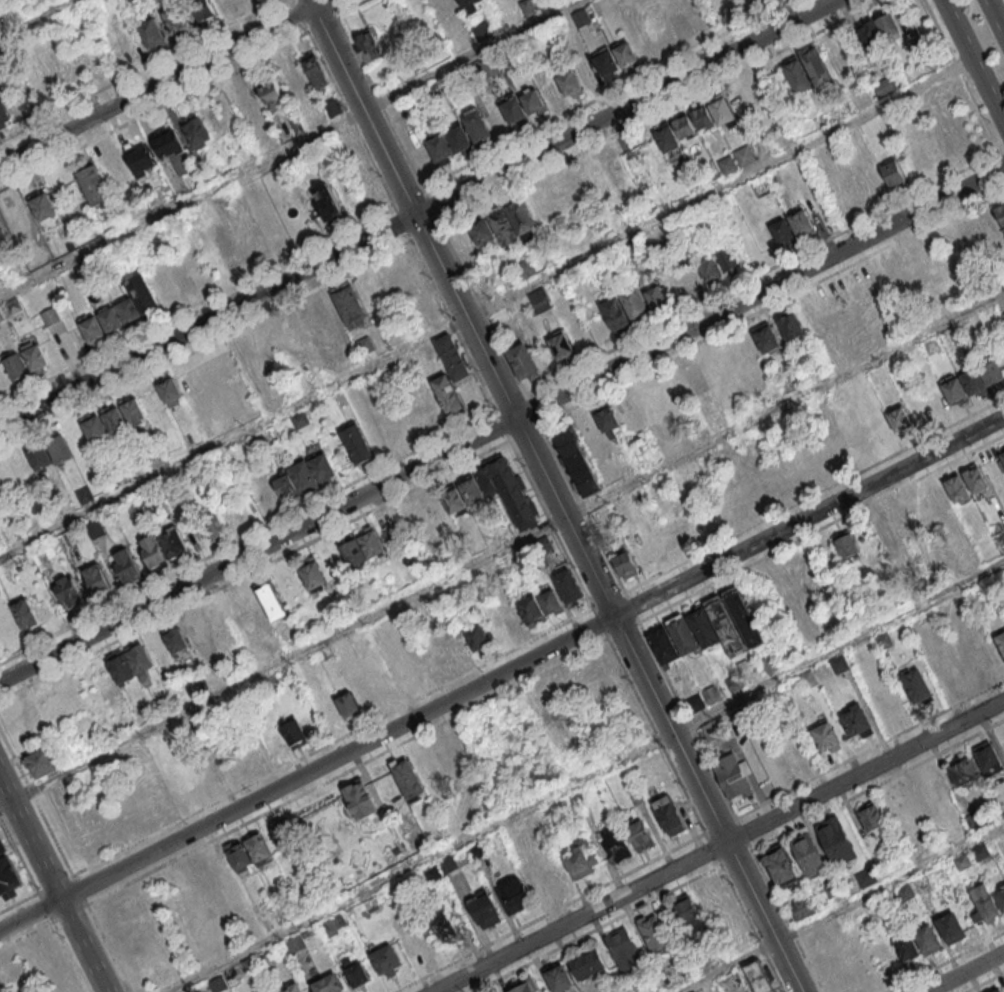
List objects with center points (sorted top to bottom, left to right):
building: (470, 5)
building: (526, 6)
building: (203, 9)
building: (443, 11)
road: (31, 16)
building: (174, 16)
building: (580, 17)
road: (994, 18)
building: (505, 20)
building: (889, 26)
building: (681, 27)
building: (482, 31)
building: (151, 32)
building: (870, 38)
building: (370, 43)
building: (915, 43)
building: (123, 45)
building: (625, 54)
building: (606, 63)
road: (972, 63)
building: (487, 65)
building: (315, 70)
building: (818, 72)
building: (588, 73)
building: (798, 79)
road: (160, 82)
building: (294, 82)
building: (569, 82)
building: (44, 88)
building: (885, 89)
building: (432, 91)
building: (552, 91)
building: (271, 94)
building: (532, 99)
building: (242, 103)
building: (332, 107)
building: (513, 109)
building: (721, 110)
building: (4, 112)
building: (702, 117)
building: (493, 120)
building: (296, 125)
building: (684, 125)
building: (475, 126)
building: (195, 130)
building: (268, 136)
building: (457, 137)
building: (667, 139)
building: (439, 145)
road: (292, 149)
building: (172, 150)
building: (417, 155)
building: (919, 155)
building: (139, 157)
building: (746, 157)
building: (729, 167)
building: (118, 170)
building: (892, 173)
building: (593, 174)
building: (708, 176)
building: (92, 181)
building: (690, 185)
building: (324, 201)
building: (41, 205)
building: (1000, 212)
road: (416, 213)
building: (522, 217)
building: (802, 223)
building: (988, 223)
building: (502, 225)
building: (481, 231)
building: (781, 231)
building: (967, 235)
building: (3, 237)
building: (227, 244)
building: (636, 254)
building: (728, 259)
building: (709, 268)
building: (904, 269)
building: (527, 271)
building: (690, 277)
building: (144, 296)
building: (656, 298)
building: (538, 300)
building: (634, 303)
building: (349, 304)
building: (129, 310)
road: (486, 310)
building: (614, 313)
building: (1003, 314)
building: (50, 315)
building: (111, 319)
building: (323, 322)
building: (790, 325)
building: (93, 329)
building: (281, 336)
building: (766, 338)
building: (561, 345)
building: (451, 357)
building: (34, 358)
building: (522, 360)
building: (15, 367)
building: (992, 373)
building: (973, 381)
building: (695, 383)
building: (167, 389)
building: (952, 390)
building: (448, 395)
building: (132, 409)
building: (605, 418)
building: (299, 419)
building: (899, 419)
building: (114, 420)
road: (502, 423)
building: (93, 429)
building: (357, 444)
building: (1003, 447)
building: (58, 448)
building: (1002, 456)
building: (40, 457)
building: (577, 460)
building: (321, 466)
building: (303, 476)
building: (975, 478)
building: (285, 485)
building: (956, 489)
building: (470, 491)
building: (509, 492)
building: (83, 493)
road: (553, 496)
building: (452, 500)
building: (928, 502)
building: (211, 525)
building: (95, 529)
building: (679, 534)
building: (888, 537)
building: (173, 542)
building: (846, 545)
building: (374, 548)
building: (153, 550)
road: (501, 550)
building: (644, 554)
building: (356, 556)
building: (625, 564)
building: (125, 566)
building: (311, 574)
building: (96, 579)
building: (568, 586)
building: (68, 592)
building: (275, 597)
building: (549, 600)
building: (530, 610)
building: (23, 614)
building: (742, 616)
building: (512, 621)
building: (725, 625)
building: (702, 627)
building: (192, 630)
building: (682, 634)
building: (476, 637)
building: (175, 638)
building: (885, 640)
building: (1001, 642)
building: (663, 644)
building: (156, 647)
building: (137, 657)
building: (978, 658)
building: (769, 663)
building: (838, 663)
building: (743, 666)
building: (119, 667)
road: (502, 672)
building: (404, 675)
building: (950, 675)
building: (807, 678)
building: (916, 684)
building: (730, 685)
building: (710, 694)
building: (553, 697)
building: (693, 702)
building: (348, 704)
building: (331, 715)
building: (856, 720)
building: (290, 730)
building: (825, 735)
building: (989, 757)
building: (45, 767)
building: (219, 771)
building: (963, 771)
building: (733, 776)
building: (407, 777)
road: (585, 778)
building: (360, 800)
building: (904, 804)
building: (670, 814)
building: (871, 816)
building: (285, 834)
building: (640, 834)
building: (837, 839)
building: (616, 844)
building: (2, 845)
road: (718, 846)
building: (257, 848)
building: (477, 848)
building: (982, 850)
building: (808, 853)
building: (239, 858)
building: (581, 859)
building: (962, 861)
building: (447, 863)
building: (781, 865)
building: (432, 872)
building: (8, 877)
building: (543, 878)
building: (866, 878)
road: (52, 886)
building: (833, 888)
building: (513, 895)
building: (1000, 897)
building: (145, 902)
building: (985, 902)
building: (483, 907)
building: (801, 908)
building: (685, 909)
road: (841, 909)
building: (334, 925)
building: (951, 926)
building: (445, 928)
building: (652, 933)
building: (928, 939)
building: (294, 943)
building: (906, 946)
building: (623, 948)
road: (70, 956)
building: (266, 957)
building: (386, 959)
building: (588, 964)
building: (249, 966)
road: (964, 971)
building: (355, 972)
building: (758, 976)
building: (559, 978)
building: (328, 983)
building: (217, 984)
building: (526, 985)
building: (709, 986)
building: (290, 987)
building: (996, 990)
building: (692, 991)

